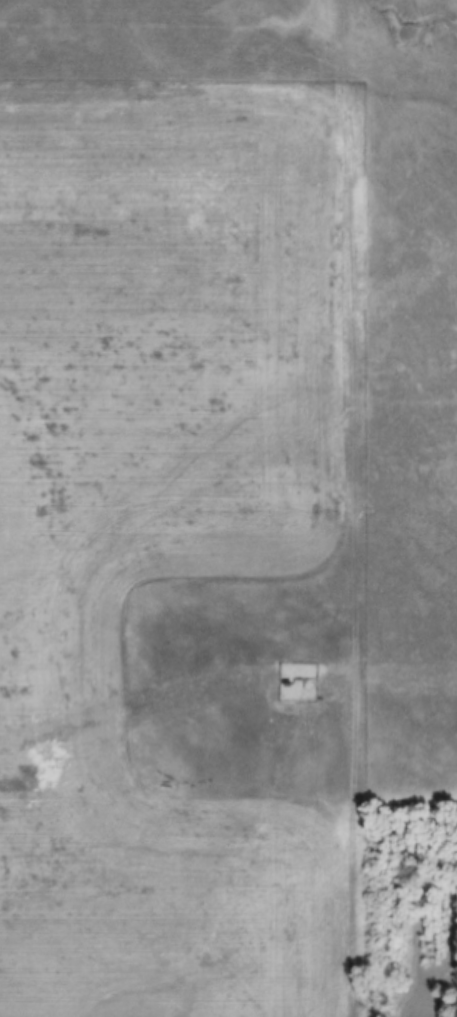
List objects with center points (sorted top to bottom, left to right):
road: (354, 508)

